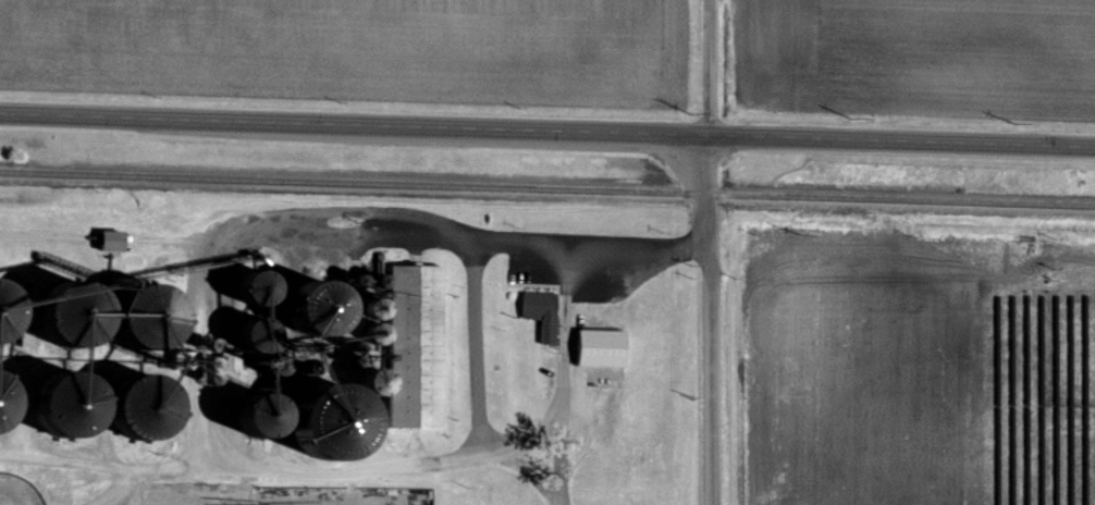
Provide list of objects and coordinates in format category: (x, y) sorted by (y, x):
crop: (356, 49)
road: (546, 136)
railway: (547, 189)
road: (711, 251)
road: (477, 278)
building: (544, 313)
building: (604, 348)
solar farm: (1036, 375)

